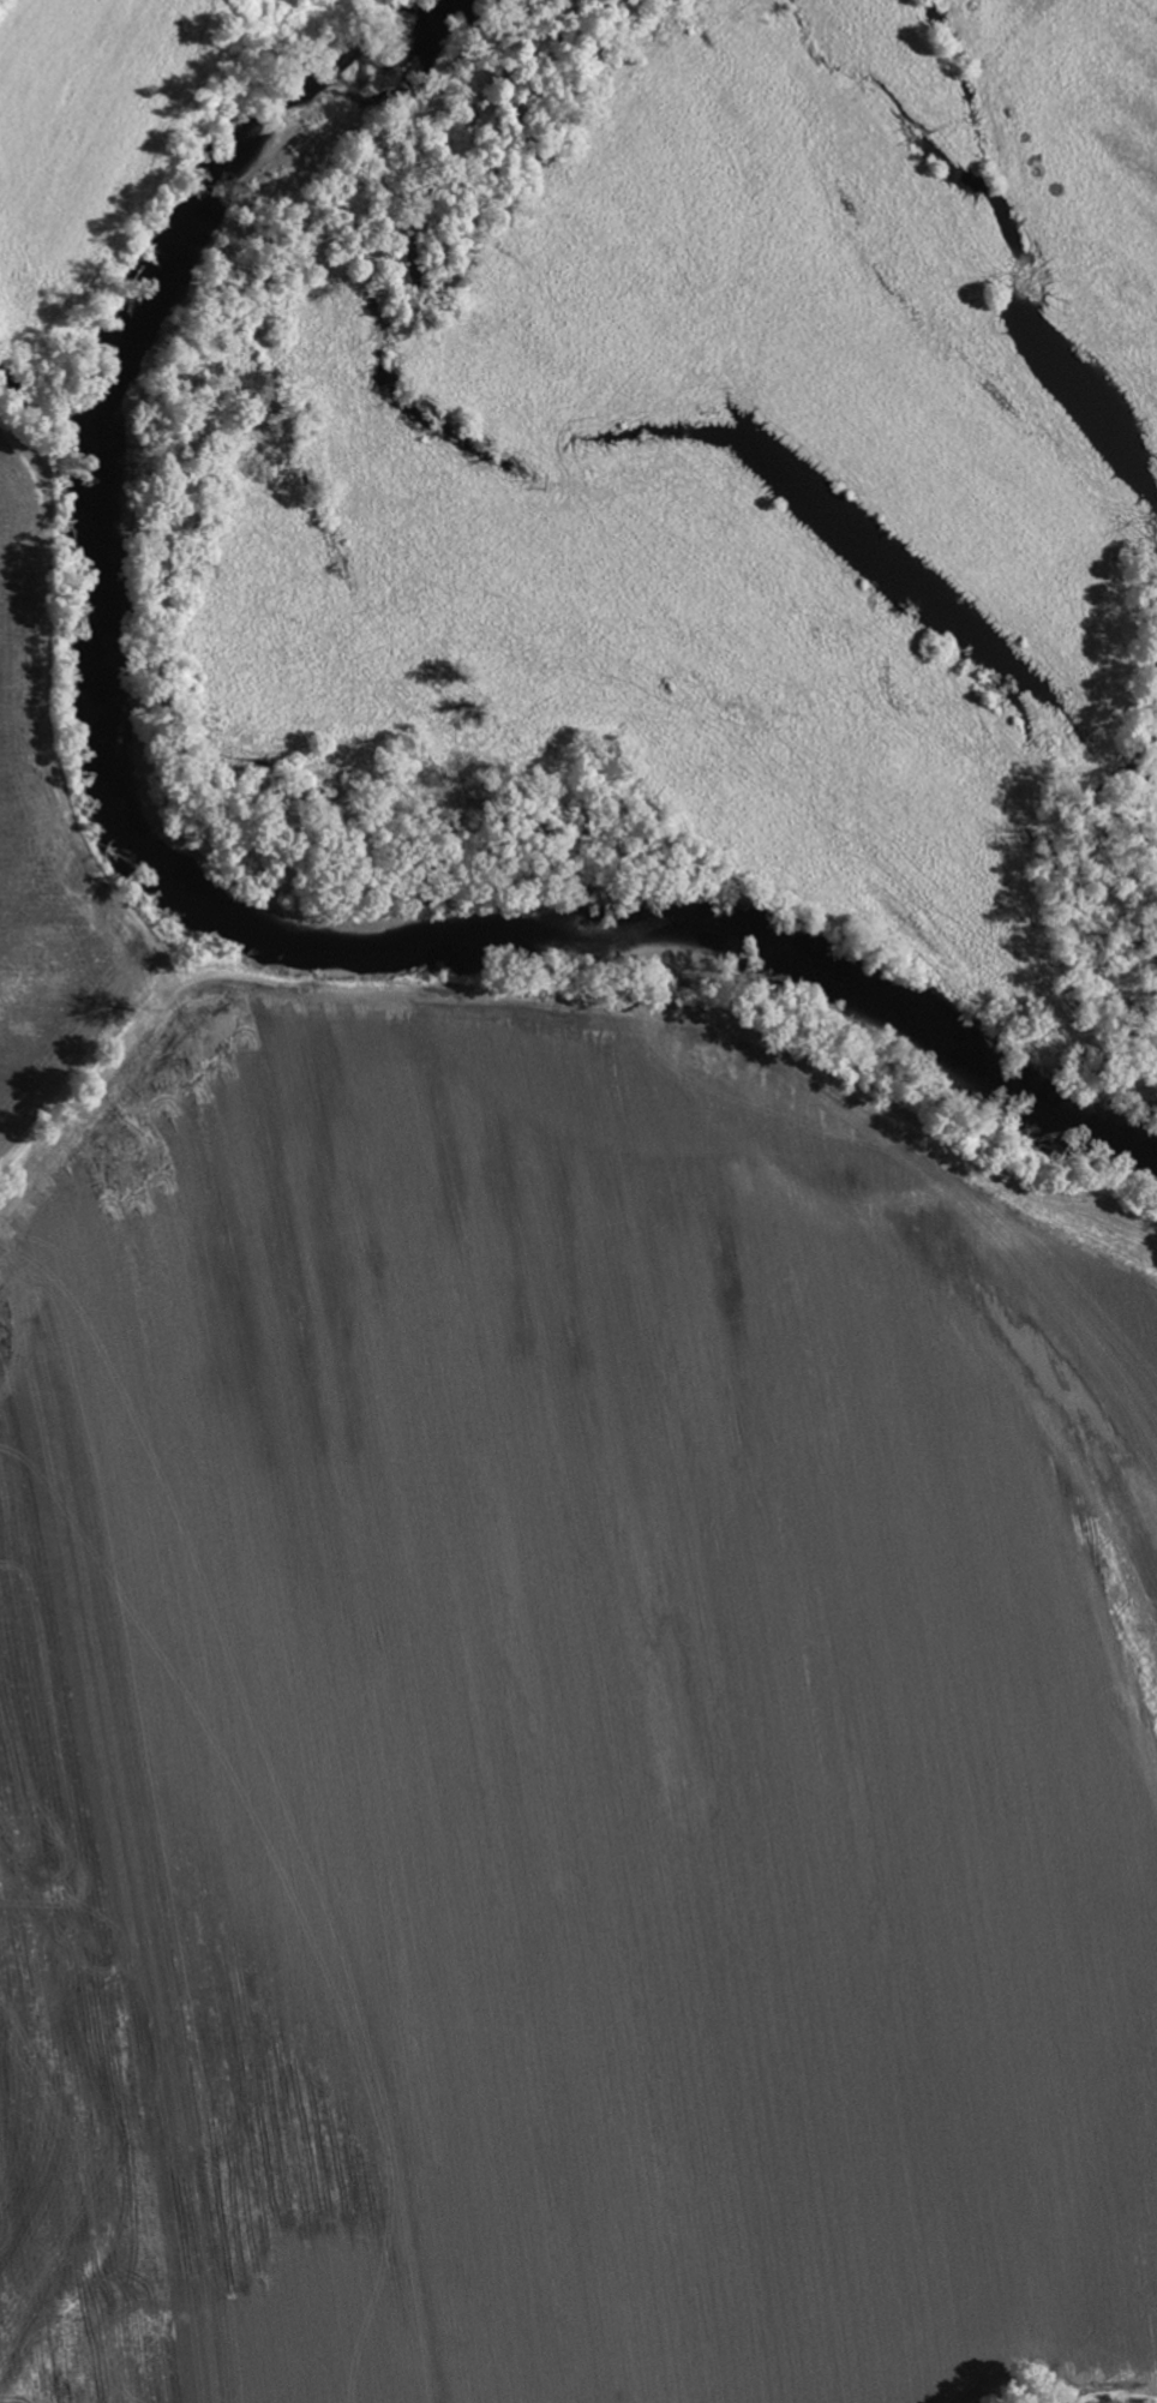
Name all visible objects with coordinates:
river: (176, 885)
road: (88, 1091)

